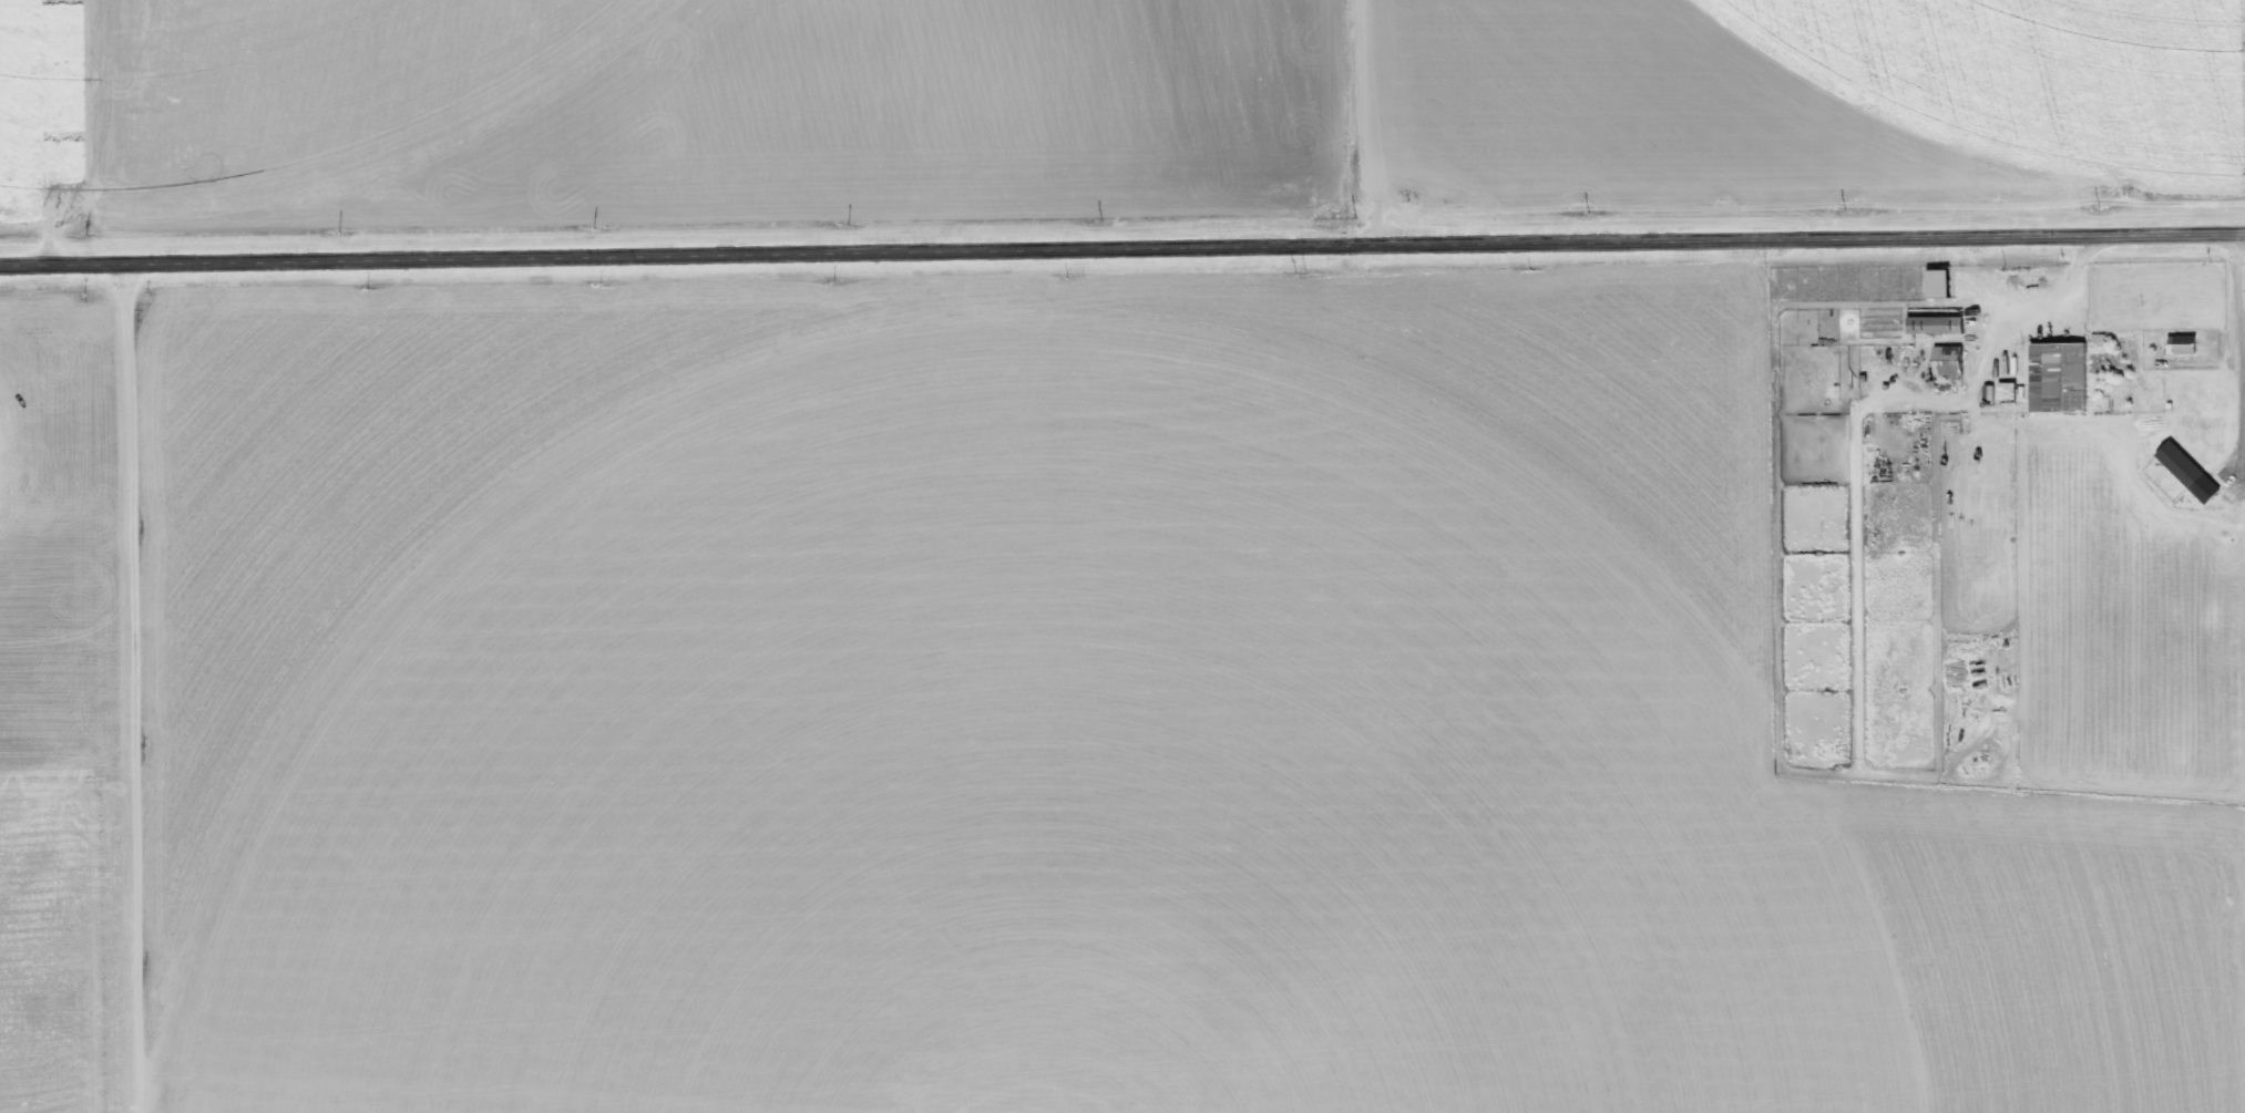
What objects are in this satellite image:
road: (1337, 124)
road: (27, 137)
road: (1121, 251)
road: (1857, 422)
building: (2191, 471)

